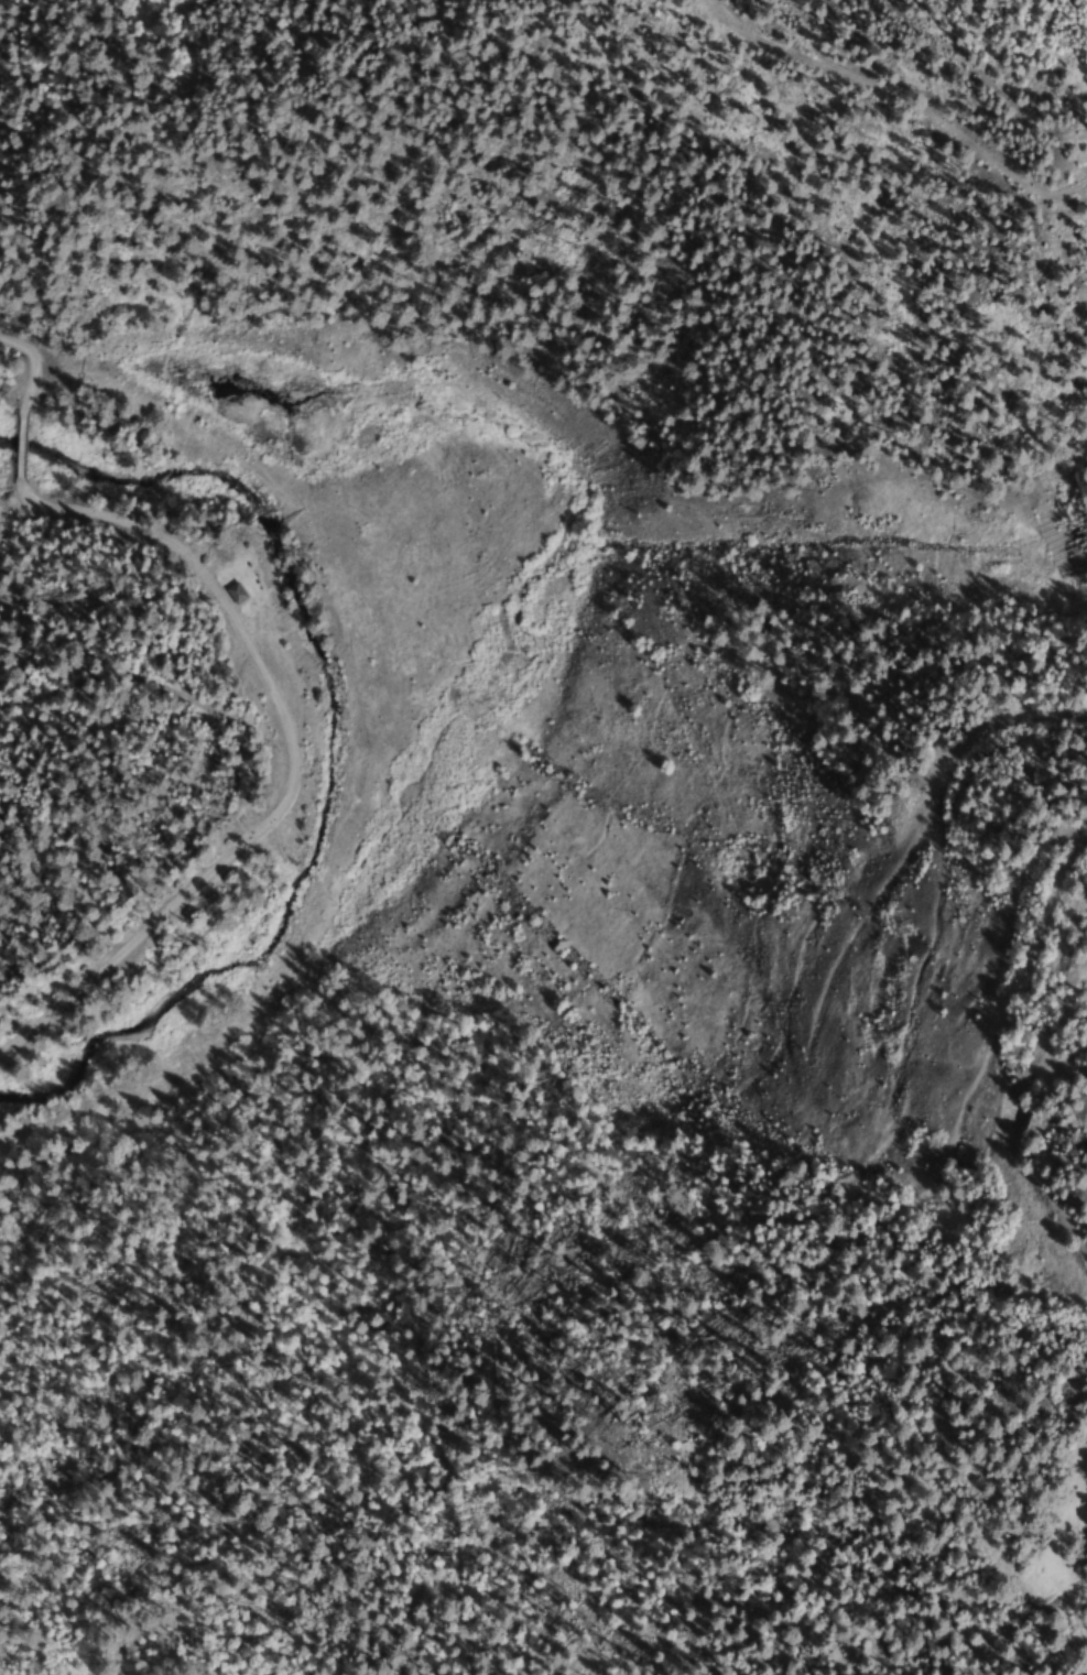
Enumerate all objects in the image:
road: (14, 344)
road: (29, 382)
road: (19, 449)
building: (233, 594)
road: (291, 759)

